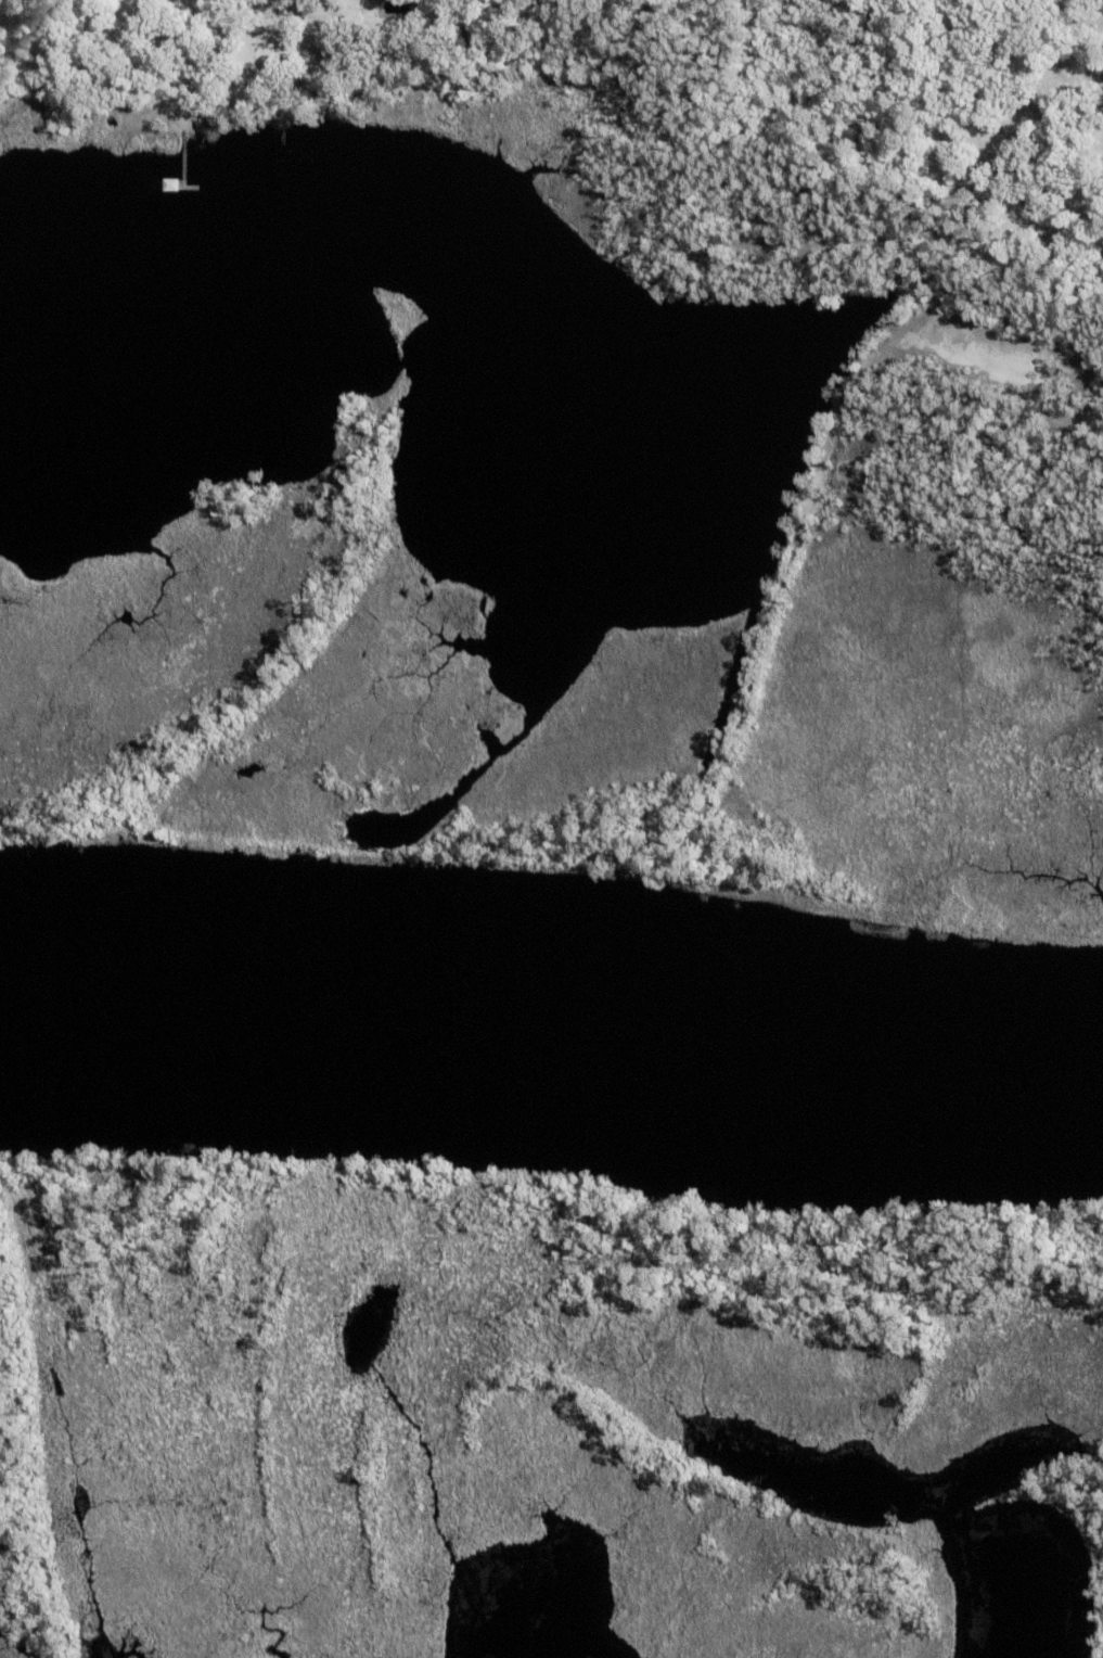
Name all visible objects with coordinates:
building: (449, 2)
building: (270, 27)
river: (551, 1051)

